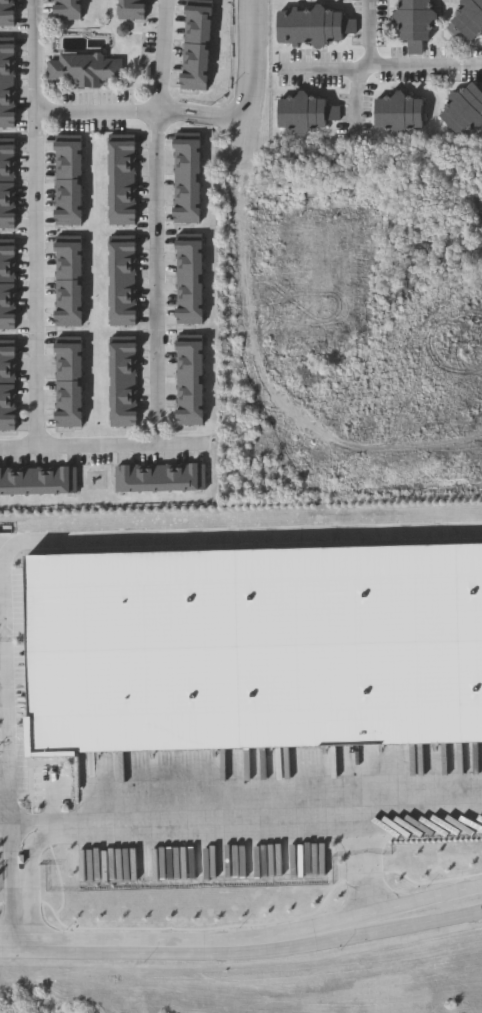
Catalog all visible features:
building: (299, 0)
building: (303, 1)
building: (66, 2)
building: (131, 2)
building: (7, 5)
building: (199, 7)
building: (131, 12)
building: (67, 13)
building: (7, 17)
building: (198, 22)
building: (467, 22)
building: (411, 23)
building: (310, 26)
road: (370, 33)
building: (197, 37)
building: (8, 44)
building: (196, 51)
road: (159, 56)
road: (247, 57)
building: (8, 60)
building: (195, 66)
road: (382, 67)
building: (84, 69)
building: (8, 75)
building: (194, 81)
building: (8, 90)
road: (173, 105)
building: (8, 106)
building: (462, 108)
road: (218, 110)
road: (97, 113)
building: (301, 113)
building: (396, 113)
road: (173, 118)
building: (8, 121)
road: (217, 123)
building: (190, 139)
building: (68, 140)
building: (123, 140)
road: (244, 141)
building: (7, 143)
building: (190, 154)
building: (68, 155)
building: (123, 155)
building: (7, 158)
building: (190, 169)
building: (68, 171)
building: (123, 171)
building: (7, 173)
building: (190, 185)
building: (68, 186)
building: (123, 186)
building: (7, 189)
building: (190, 200)
building: (68, 201)
building: (123, 201)
building: (7, 204)
building: (190, 215)
building: (68, 217)
building: (123, 217)
building: (7, 219)
road: (36, 223)
building: (190, 242)
building: (68, 243)
building: (123, 243)
building: (7, 246)
building: (190, 257)
building: (68, 258)
building: (123, 258)
building: (7, 261)
building: (190, 273)
building: (68, 274)
building: (123, 274)
building: (7, 276)
road: (159, 276)
building: (190, 288)
building: (68, 289)
building: (123, 289)
building: (7, 292)
building: (190, 303)
building: (68, 304)
building: (123, 304)
building: (7, 307)
building: (190, 318)
building: (68, 320)
building: (123, 320)
building: (7, 322)
building: (190, 342)
building: (68, 343)
building: (123, 343)
building: (7, 346)
building: (190, 357)
building: (68, 358)
building: (123, 358)
building: (7, 361)
building: (190, 372)
building: (68, 374)
building: (123, 374)
building: (7, 377)
building: (190, 388)
building: (68, 389)
building: (123, 389)
building: (7, 392)
building: (190, 403)
building: (68, 404)
building: (123, 404)
building: (7, 407)
building: (190, 418)
building: (68, 420)
building: (123, 420)
building: (7, 422)
road: (100, 443)
building: (183, 477)
building: (198, 477)
building: (123, 478)
building: (138, 478)
building: (153, 478)
building: (168, 478)
building: (54, 479)
building: (69, 479)
building: (1, 480)
building: (9, 480)
building: (24, 480)
building: (39, 480)
road: (44, 538)
building: (254, 647)
road: (52, 795)
building: (33, 807)
road: (366, 813)
road: (186, 827)
building: (24, 837)
road: (243, 946)

